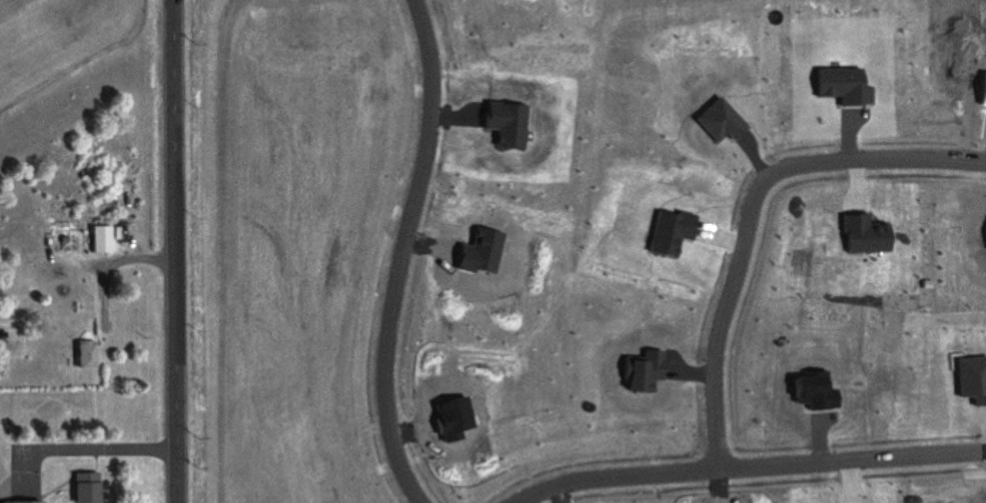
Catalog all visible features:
airport runway: (48, 42)
airport: (81, 107)
road: (756, 216)
building: (101, 239)
road: (175, 251)
road: (408, 254)
building: (86, 354)
road: (101, 452)
road: (857, 463)
road: (628, 478)
building: (86, 487)
building: (22, 502)

